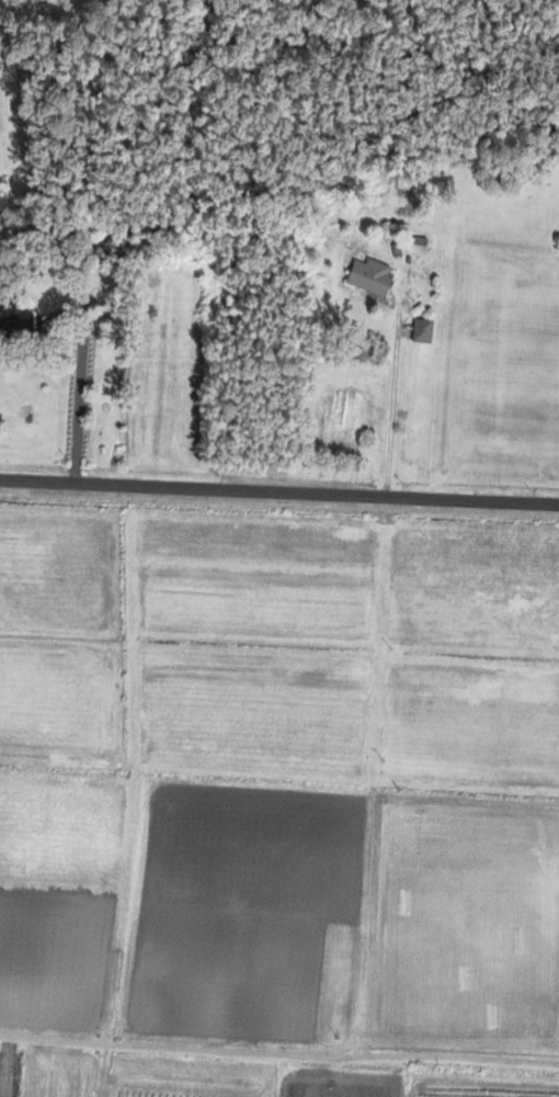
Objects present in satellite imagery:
building: (417, 245)
building: (370, 276)
building: (14, 320)
building: (422, 330)
road: (391, 394)
road: (278, 495)
road: (278, 1051)

